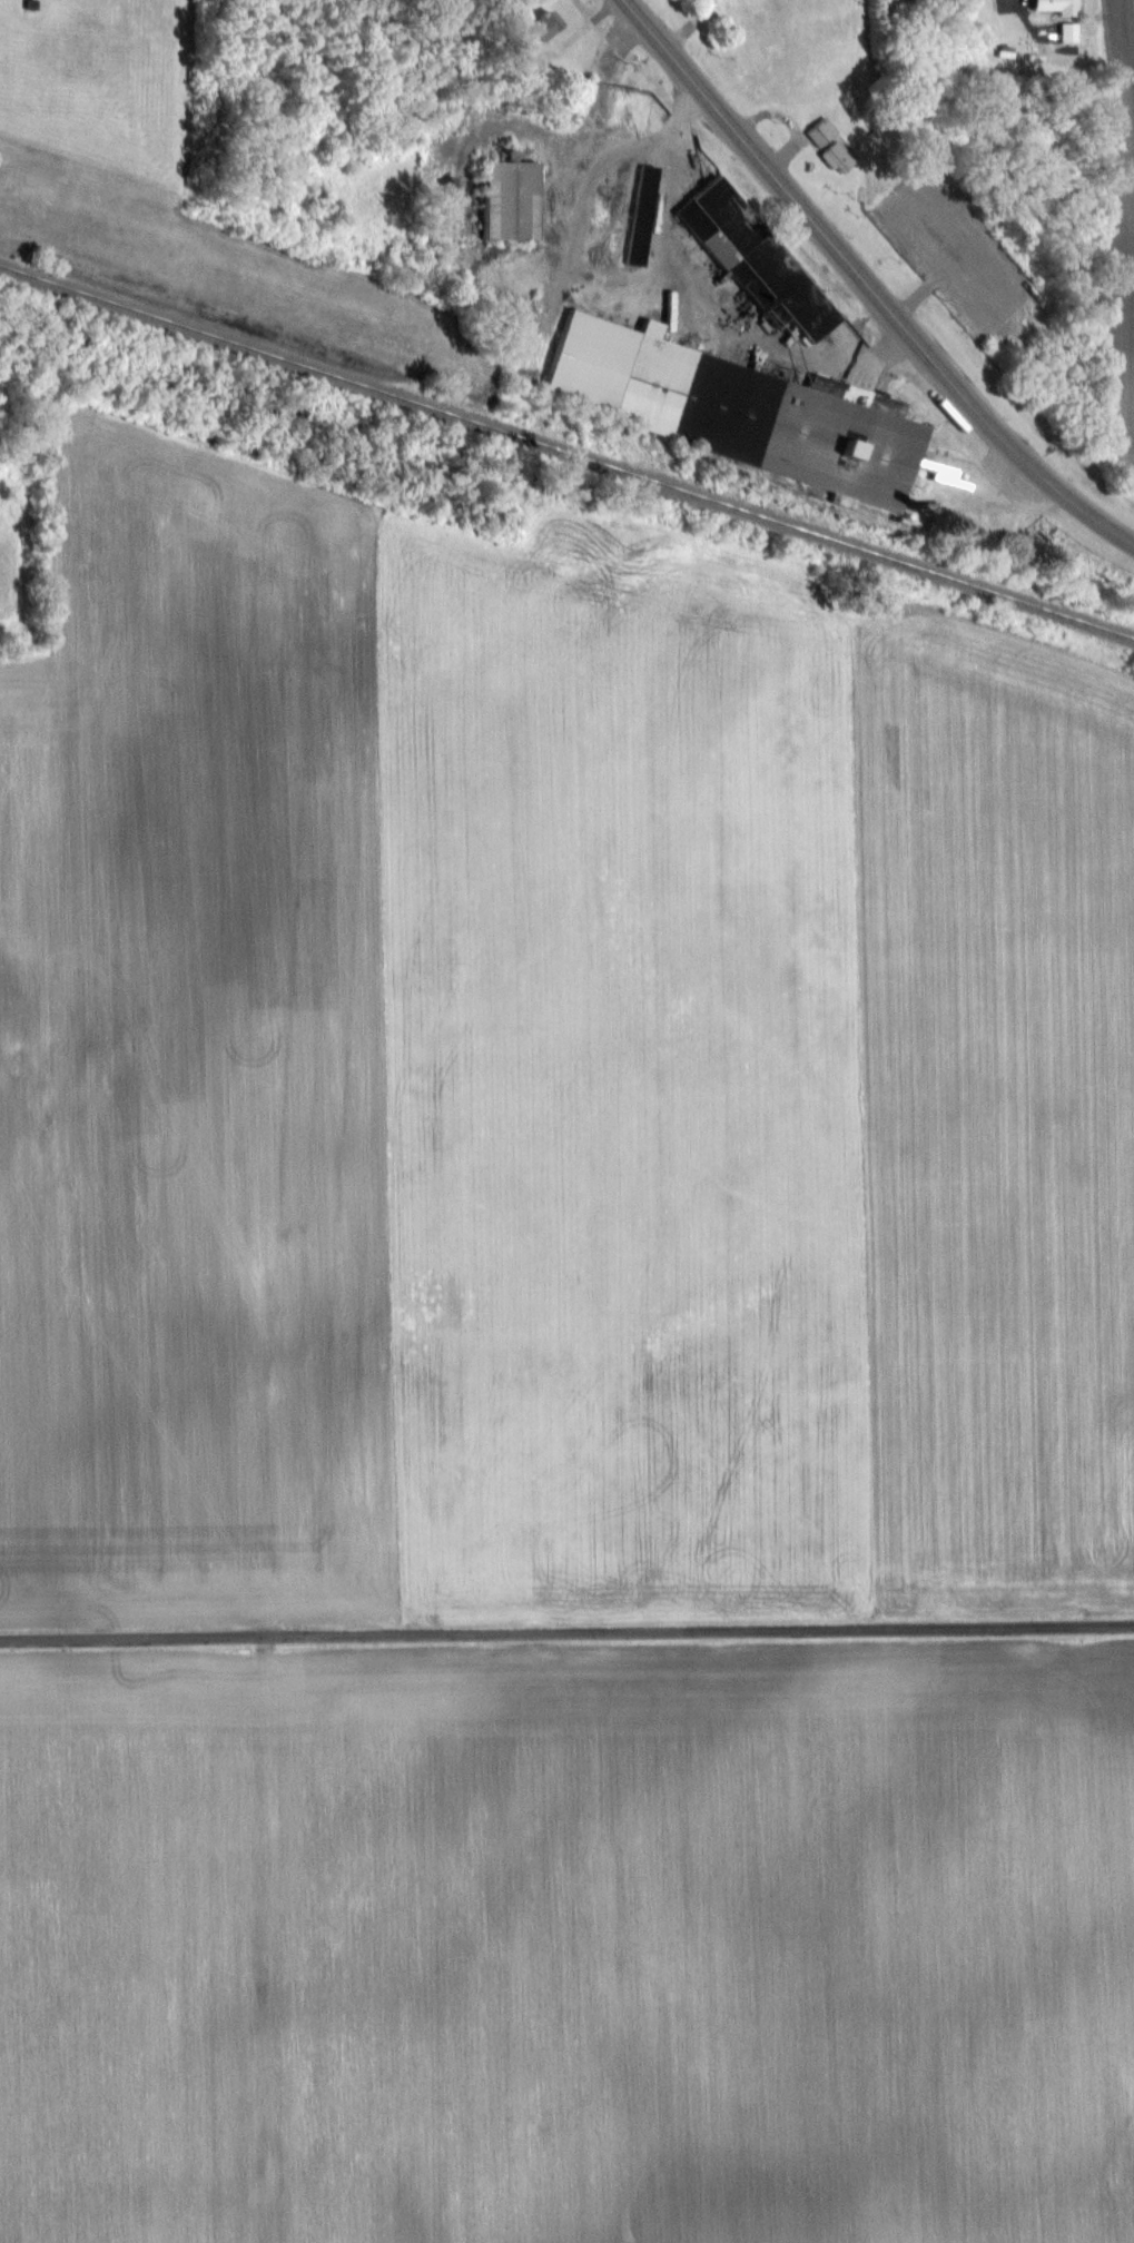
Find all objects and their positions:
building: (1065, 8)
building: (540, 26)
building: (456, 113)
building: (820, 131)
building: (835, 157)
building: (507, 199)
road: (801, 208)
building: (761, 273)
road: (700, 298)
building: (737, 412)
railway: (566, 453)
road: (1054, 484)
road: (566, 1633)

